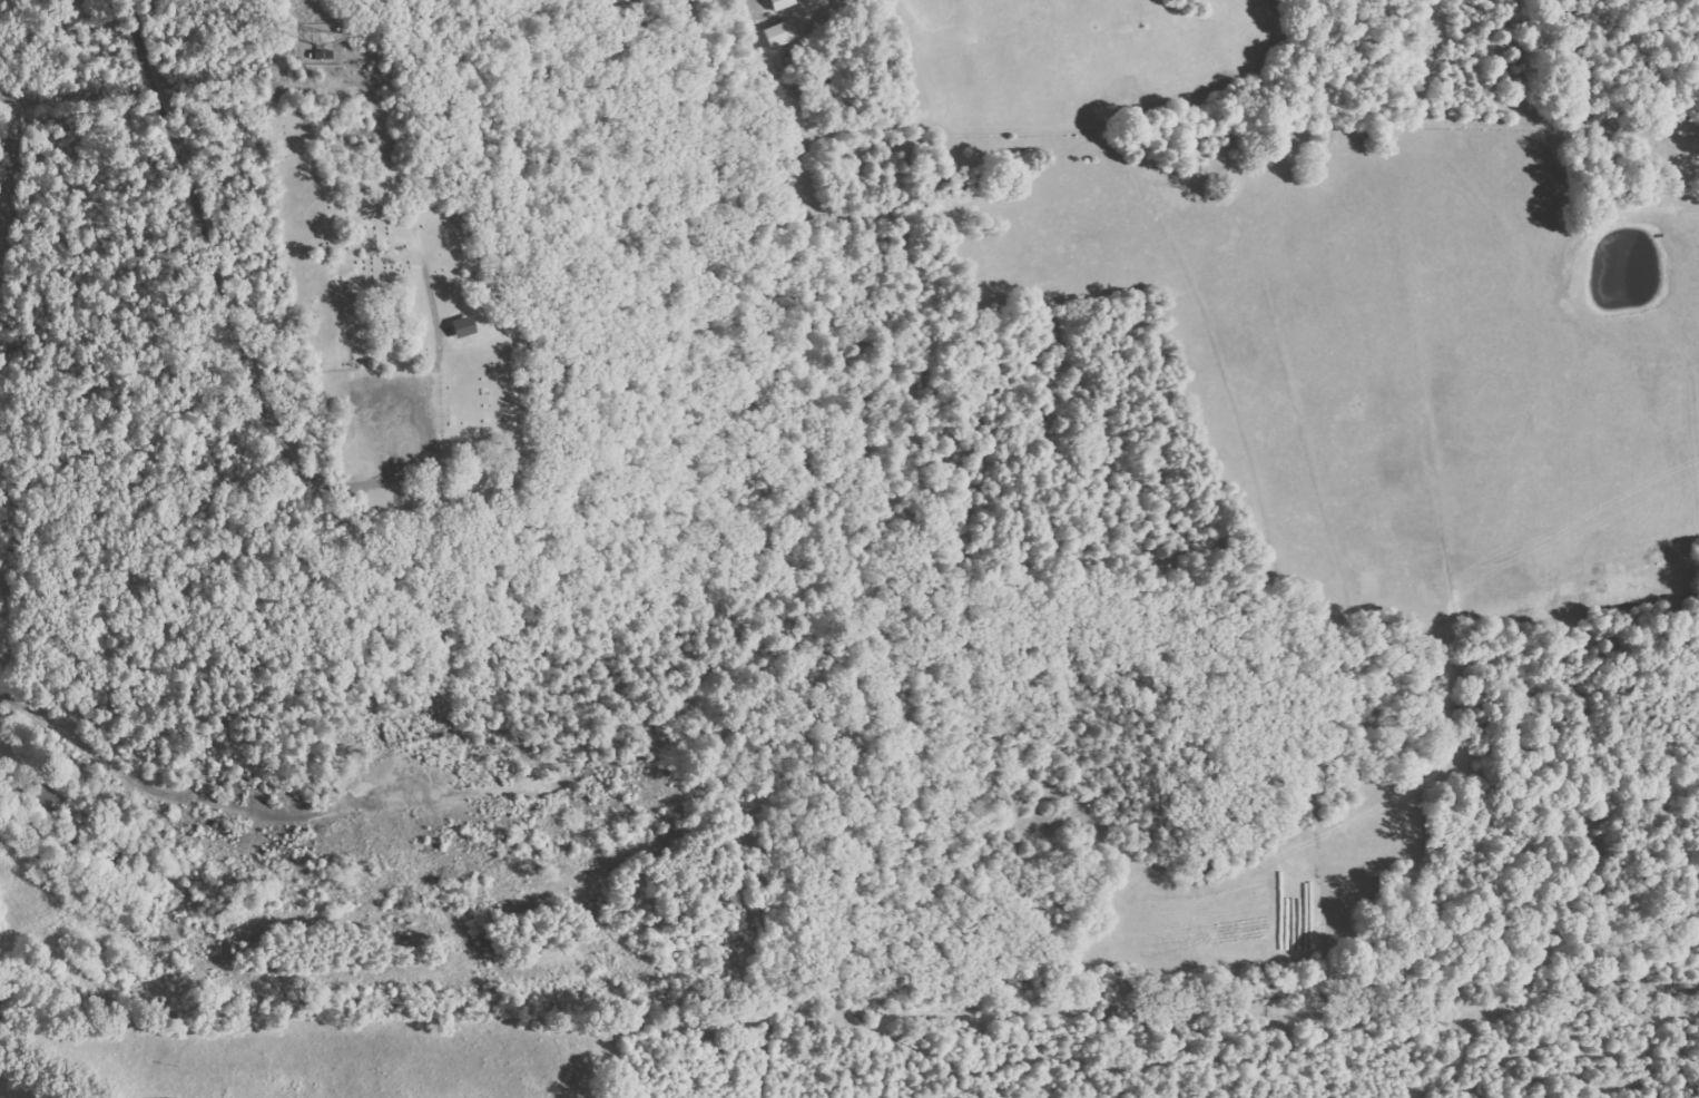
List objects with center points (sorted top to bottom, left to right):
building: (779, 4)
building: (779, 35)
road: (205, 247)
park: (406, 293)
building: (459, 327)

